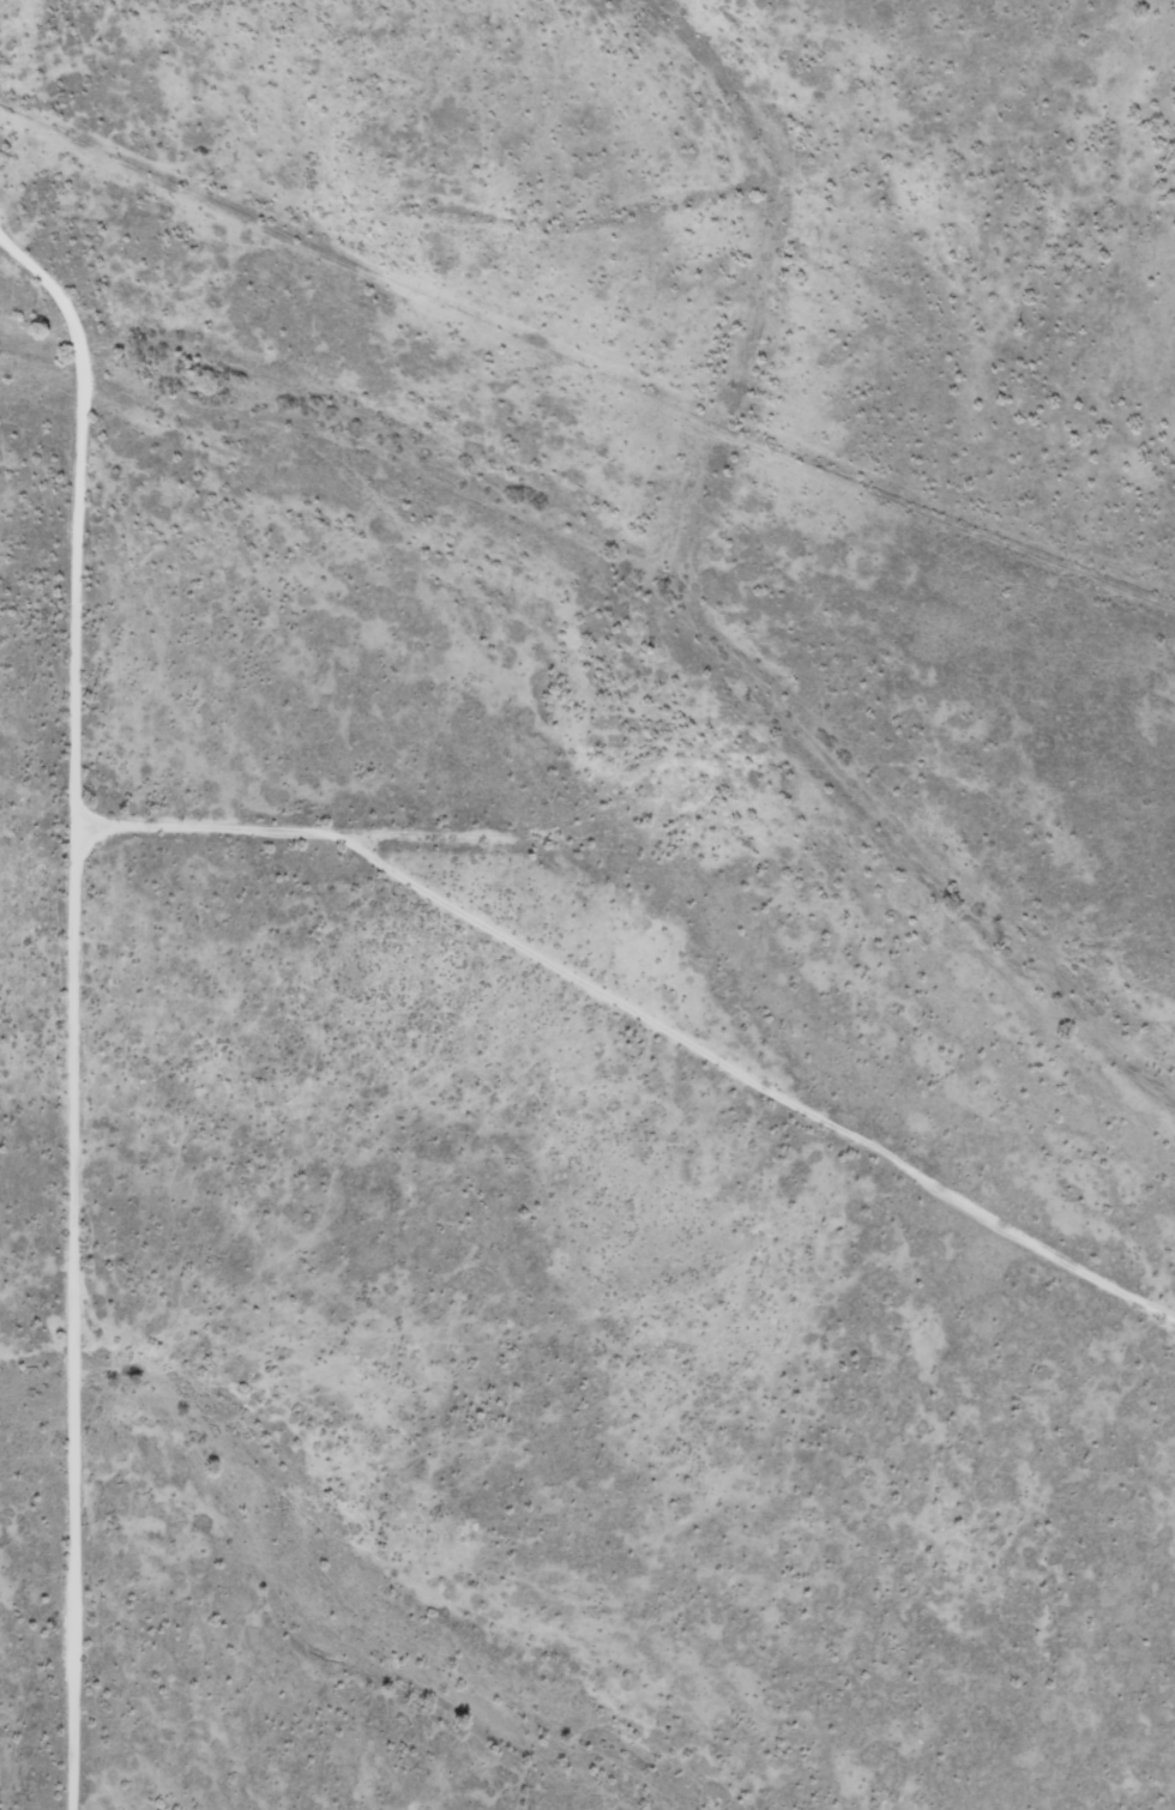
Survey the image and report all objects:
road: (106, 1015)

